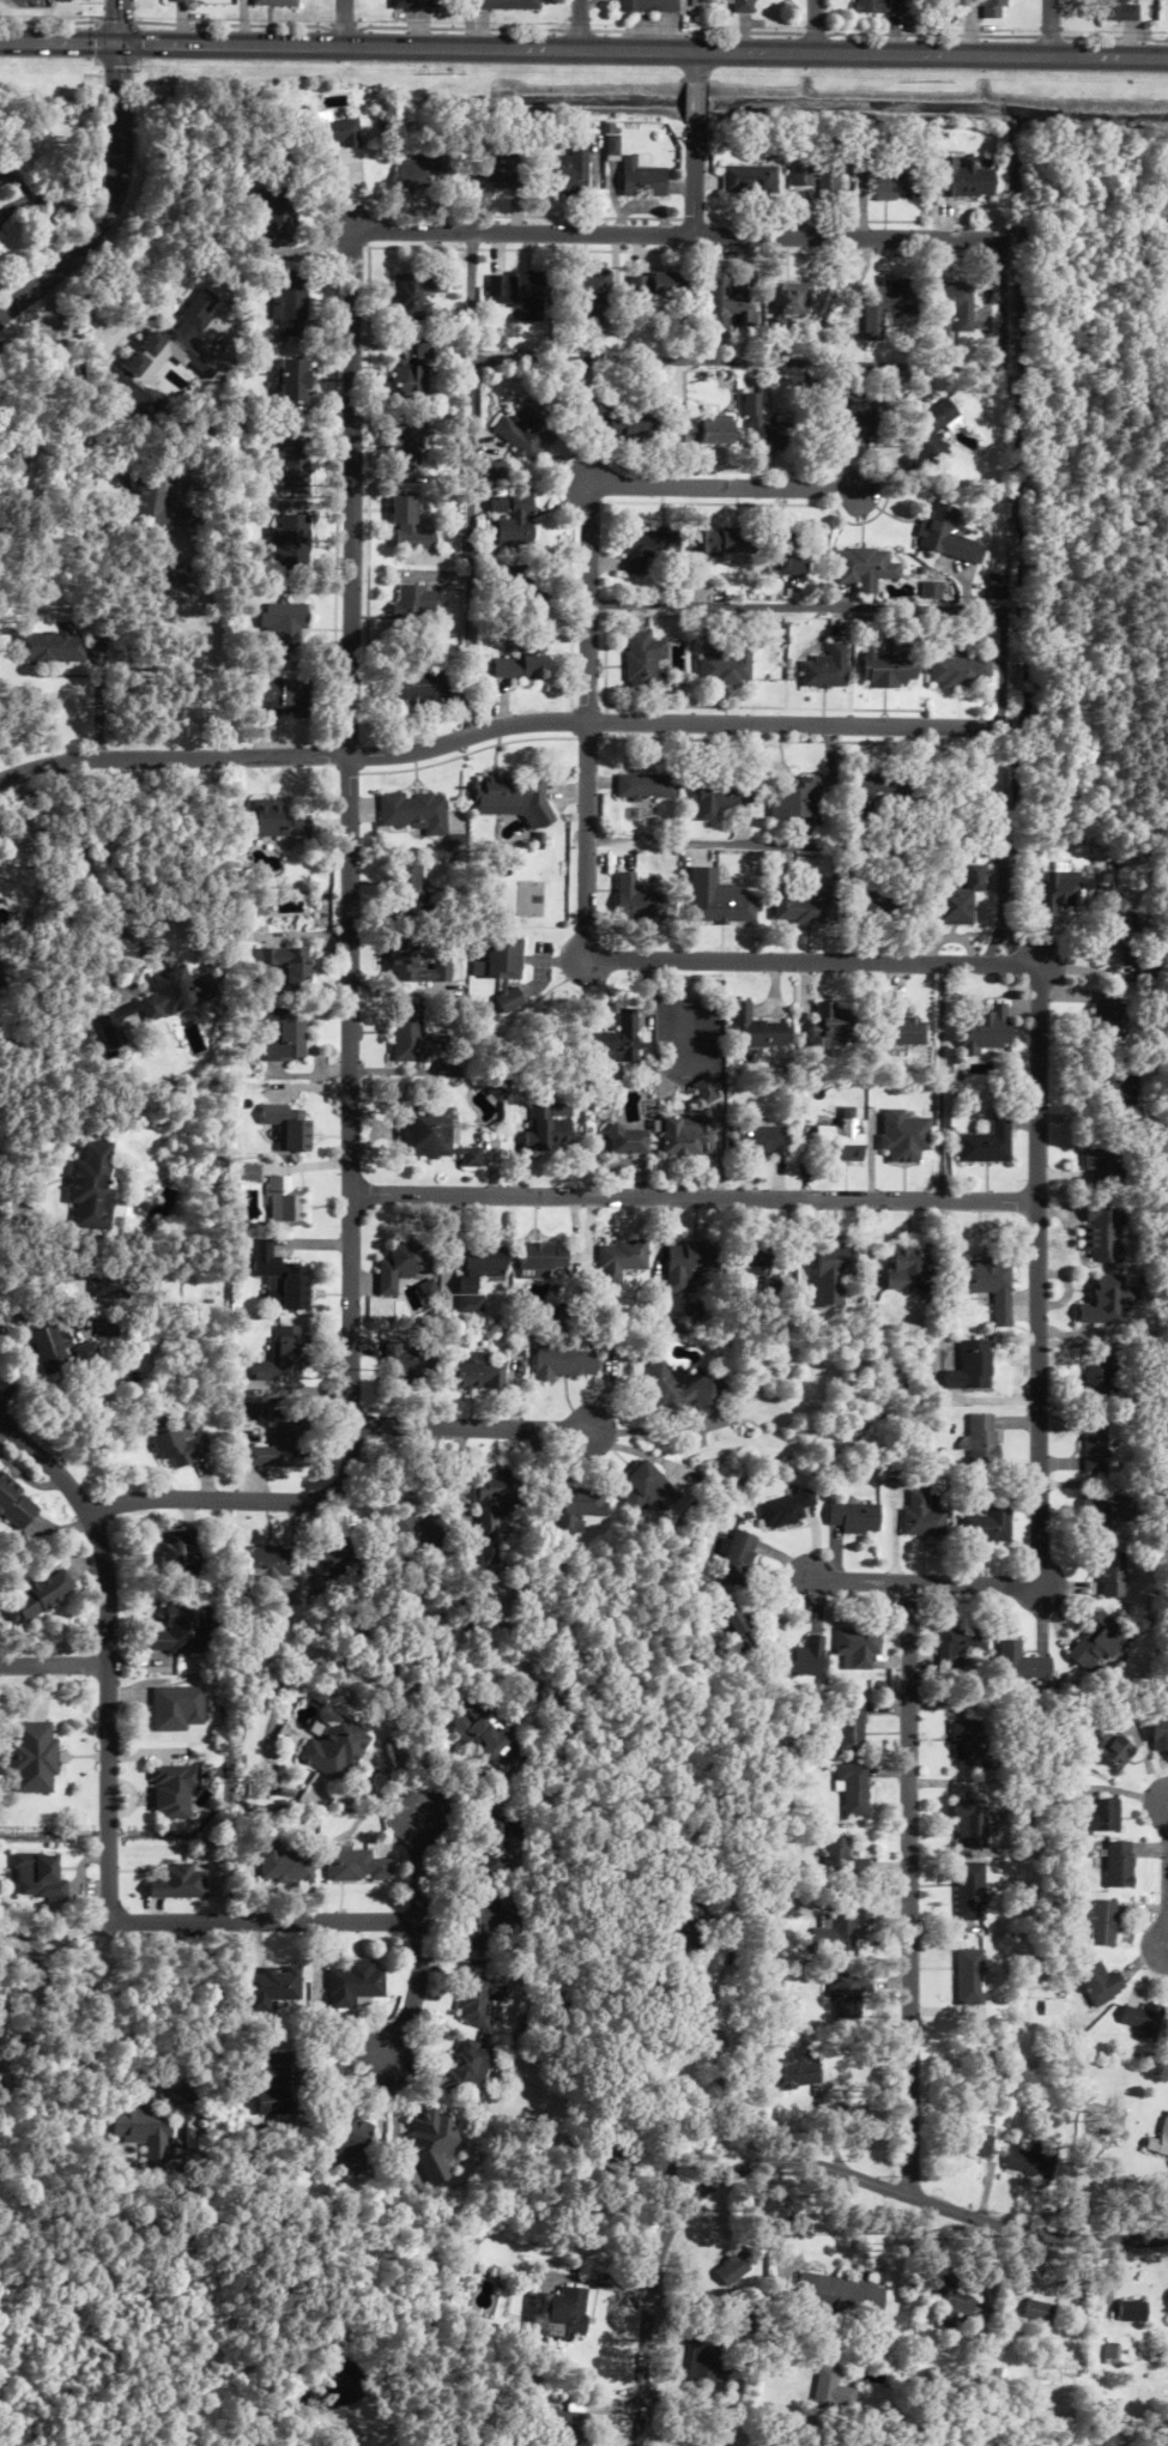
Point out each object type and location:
building: (176, 1)
river: (30, 2)
building: (272, 2)
building: (409, 4)
building: (503, 4)
building: (643, 6)
building: (742, 6)
building: (878, 6)
building: (986, 7)
building: (1119, 11)
road: (117, 22)
road: (343, 23)
road: (577, 25)
road: (815, 26)
road: (1049, 28)
traffic signals: (119, 44)
road: (583, 50)
road: (696, 67)
river: (260, 72)
river: (836, 102)
road: (695, 103)
building: (329, 139)
building: (412, 173)
building: (564, 174)
building: (490, 175)
building: (813, 176)
building: (746, 179)
road: (694, 180)
building: (961, 180)
building: (641, 181)
building: (890, 185)
road: (1167, 187)
road: (108, 205)
building: (276, 217)
road: (676, 235)
building: (512, 285)
building: (655, 285)
building: (416, 295)
building: (290, 298)
building: (588, 298)
building: (950, 302)
building: (727, 304)
building: (786, 304)
building: (883, 306)
building: (161, 360)
road: (797, 367)
building: (412, 375)
building: (292, 380)
building: (848, 410)
building: (616, 421)
building: (758, 427)
building: (526, 430)
building: (695, 430)
building: (925, 436)
building: (409, 439)
building: (291, 466)
building: (495, 472)
road: (470, 484)
road: (721, 489)
building: (164, 496)
building: (512, 520)
building: (406, 524)
building: (939, 533)
building: (291, 538)
building: (714, 539)
building: (643, 548)
building: (779, 552)
building: (863, 568)
building: (995, 587)
building: (529, 593)
building: (413, 603)
road: (848, 609)
building: (283, 627)
building: (48, 648)
building: (525, 662)
building: (643, 662)
building: (889, 664)
building: (725, 665)
building: (824, 669)
building: (957, 670)
building: (416, 688)
building: (284, 696)
road: (588, 723)
road: (496, 729)
building: (647, 787)
building: (875, 791)
building: (719, 795)
building: (514, 798)
building: (794, 801)
building: (416, 813)
building: (278, 821)
road: (847, 848)
building: (409, 882)
building: (1057, 890)
building: (639, 899)
building: (873, 900)
building: (958, 900)
building: (807, 905)
building: (724, 907)
building: (1119, 932)
building: (501, 960)
building: (409, 961)
road: (815, 962)
building: (285, 965)
road: (351, 989)
building: (175, 992)
building: (509, 1001)
building: (1105, 1015)
building: (831, 1026)
building: (904, 1027)
building: (986, 1028)
building: (755, 1029)
building: (284, 1033)
building: (411, 1037)
building: (616, 1040)
building: (1108, 1086)
building: (703, 1091)
building: (289, 1127)
building: (547, 1130)
building: (430, 1136)
building: (684, 1136)
building: (625, 1141)
building: (759, 1141)
building: (839, 1141)
building: (988, 1141)
building: (1101, 1160)
building: (249, 1173)
building: (90, 1186)
road: (695, 1198)
building: (286, 1203)
building: (1102, 1233)
building: (539, 1257)
building: (618, 1260)
building: (689, 1262)
building: (401, 1266)
building: (759, 1267)
building: (907, 1267)
building: (830, 1268)
building: (474, 1273)
building: (283, 1282)
building: (988, 1282)
building: (110, 1287)
building: (1103, 1301)
building: (105, 1327)
building: (56, 1349)
building: (283, 1355)
building: (564, 1358)
building: (400, 1364)
building: (970, 1366)
building: (472, 1372)
building: (1100, 1376)
building: (682, 1389)
road: (1039, 1391)
road: (0, 1418)
road: (470, 1429)
building: (981, 1441)
building: (176, 1444)
building: (277, 1444)
building: (1095, 1445)
building: (497, 1490)
building: (649, 1490)
building: (14, 1505)
building: (575, 1508)
building: (785, 1509)
building: (922, 1514)
building: (1096, 1515)
building: (853, 1517)
building: (987, 1524)
building: (413, 1534)
building: (489, 1552)
building: (176, 1554)
building: (335, 1558)
building: (736, 1558)
building: (262, 1566)
building: (1109, 1576)
building: (38, 1598)
building: (737, 1625)
building: (177, 1629)
building: (960, 1642)
building: (1095, 1643)
building: (858, 1647)
road: (109, 1650)
building: (804, 1659)
building: (1021, 1662)
road: (54, 1666)
building: (175, 1708)
building: (852, 1727)
building: (1158, 1732)
building: (485, 1735)
building: (1112, 1744)
building: (968, 1745)
building: (328, 1749)
building: (32, 1757)
building: (854, 1788)
building: (173, 1790)
building: (1099, 1816)
building: (967, 1817)
building: (495, 1843)
building: (842, 1860)
building: (276, 1862)
building: (1119, 1864)
building: (349, 1866)
building: (42, 1877)
building: (176, 1883)
road: (909, 1889)
building: (966, 1892)
building: (478, 1921)
road: (315, 1922)
building: (1101, 1922)
building: (685, 1928)
building: (836, 1934)
road: (38, 1955)
building: (968, 1977)
building: (346, 1983)
building: (1100, 1983)
building: (265, 1988)
road: (410, 1992)
building: (846, 1997)
building: (472, 1999)
building: (1144, 2021)
road: (710, 2035)
building: (464, 2070)
building: (794, 2070)
building: (276, 2084)
building: (140, 2131)
building: (340, 2140)
building: (1160, 2140)
building: (426, 2143)
building: (975, 2143)
building: (1029, 2160)
road: (800, 2162)
building: (627, 2166)
building: (727, 2271)
building: (836, 2297)
building: (954, 2308)
building: (1131, 2311)
building: (557, 2312)
building: (1036, 2312)
building: (1110, 2355)
building: (703, 2357)
building: (828, 2392)
building: (562, 2428)

